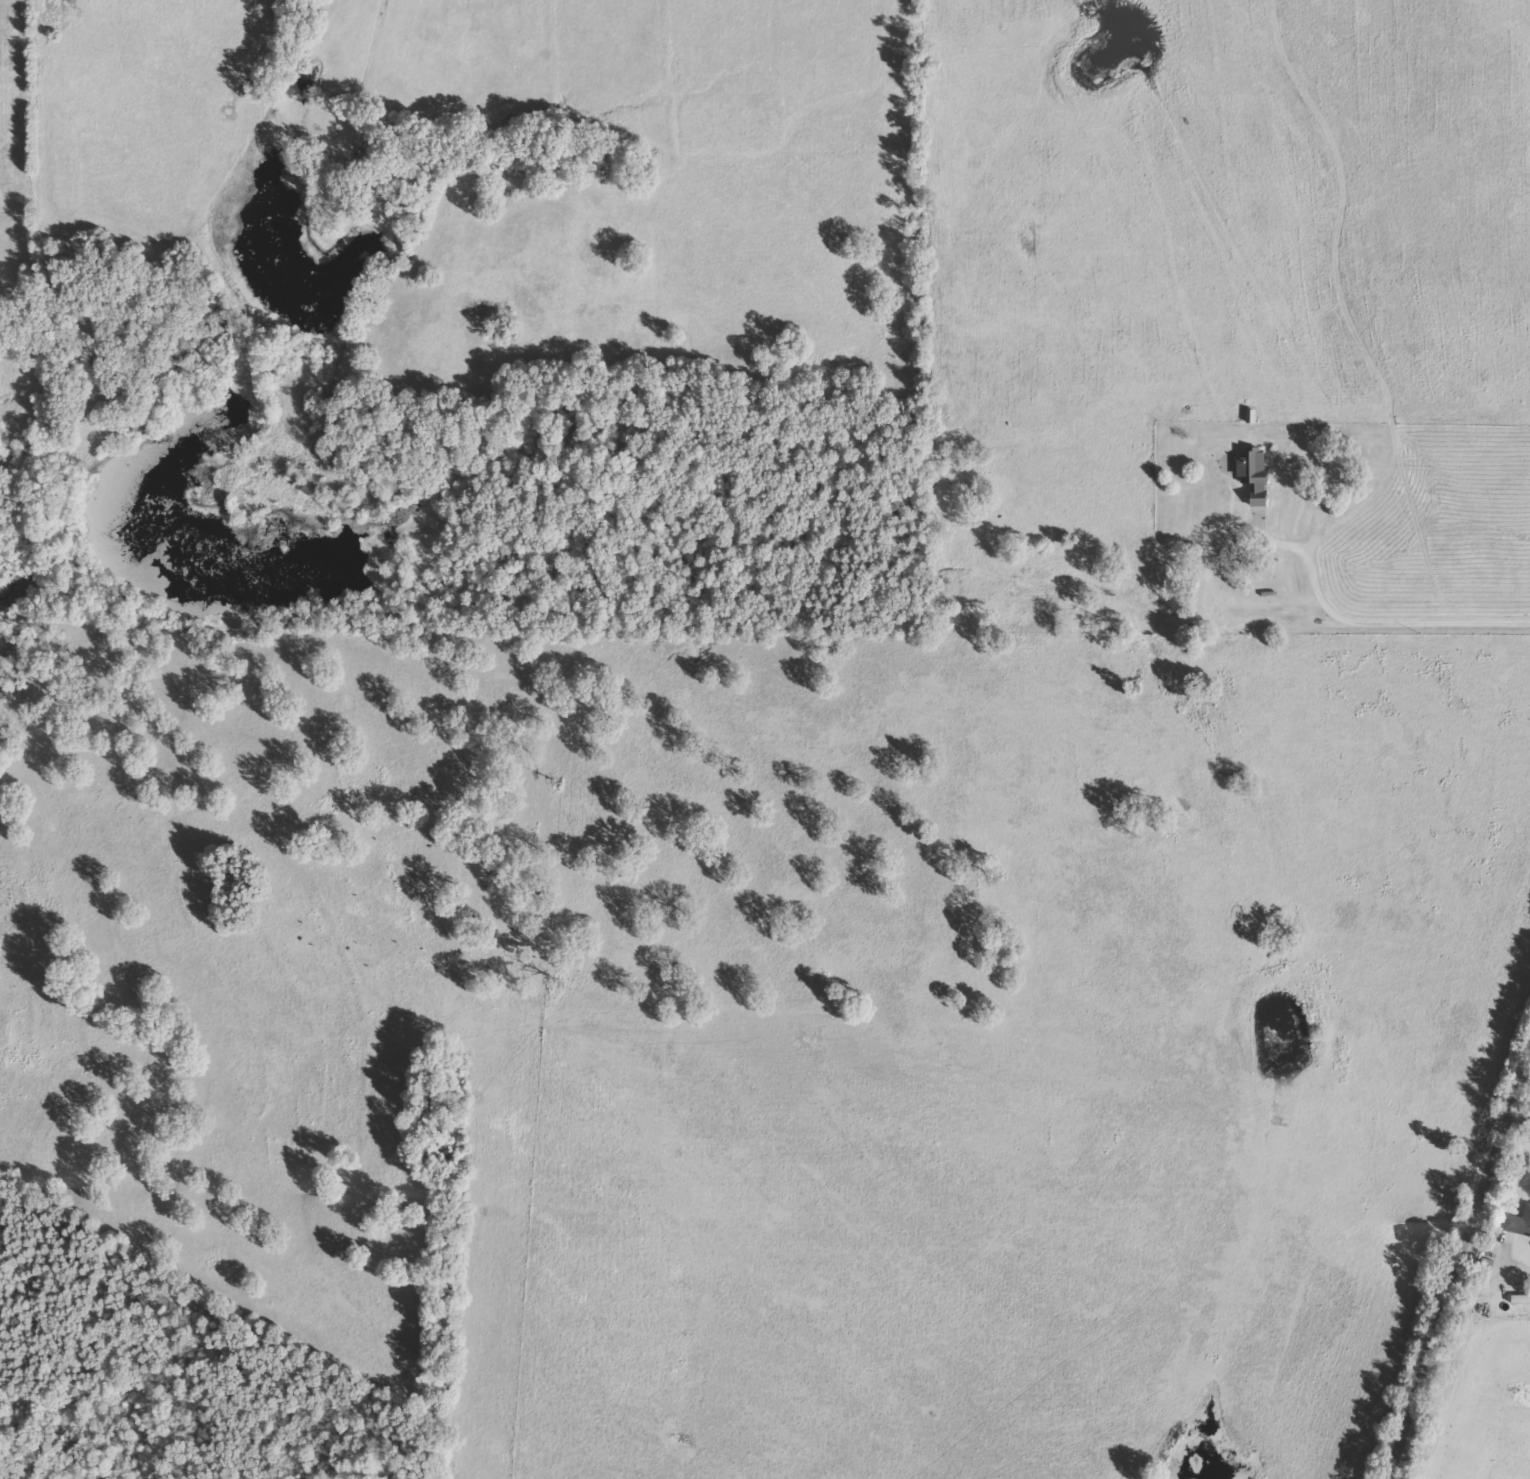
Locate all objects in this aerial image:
building: (1256, 476)
building: (1519, 1224)
road: (1466, 1270)
building: (1521, 1300)

